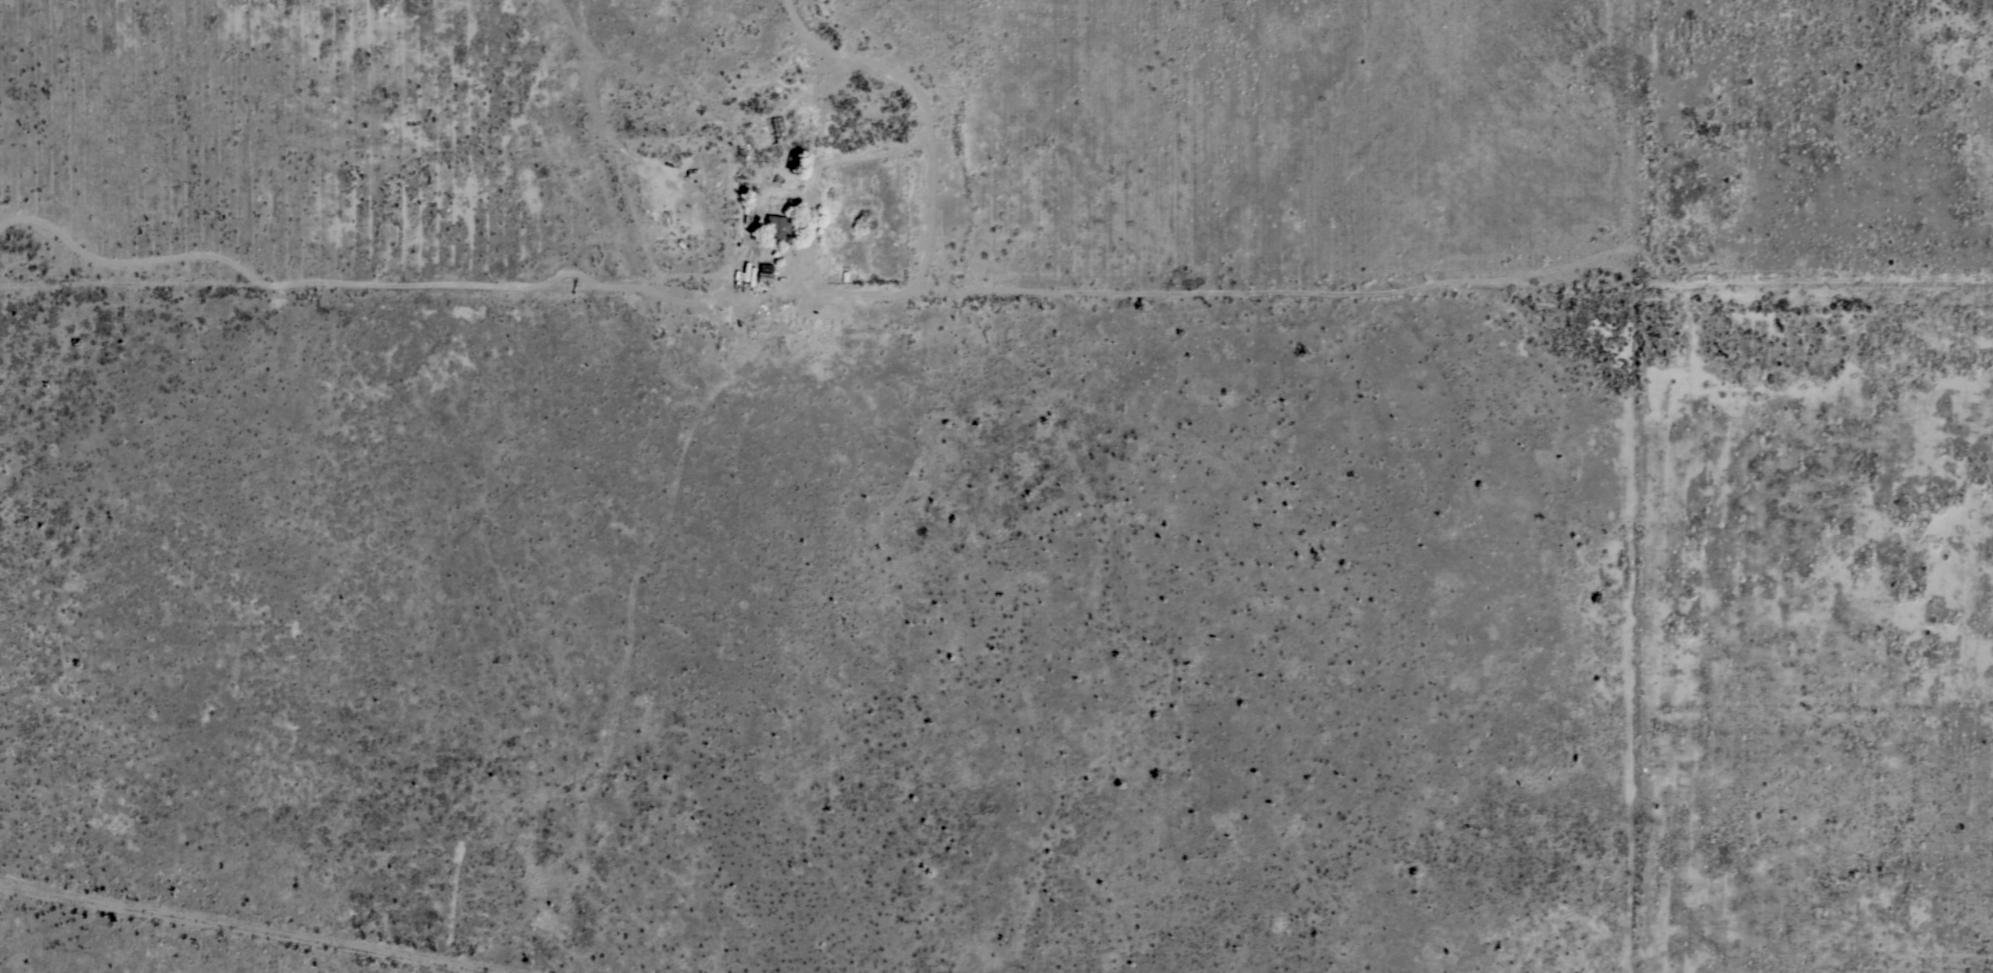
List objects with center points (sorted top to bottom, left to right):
road: (873, 62)
building: (775, 226)
building: (762, 276)
road: (428, 285)
road: (833, 286)
road: (1466, 286)
road: (1326, 486)
road: (249, 928)

